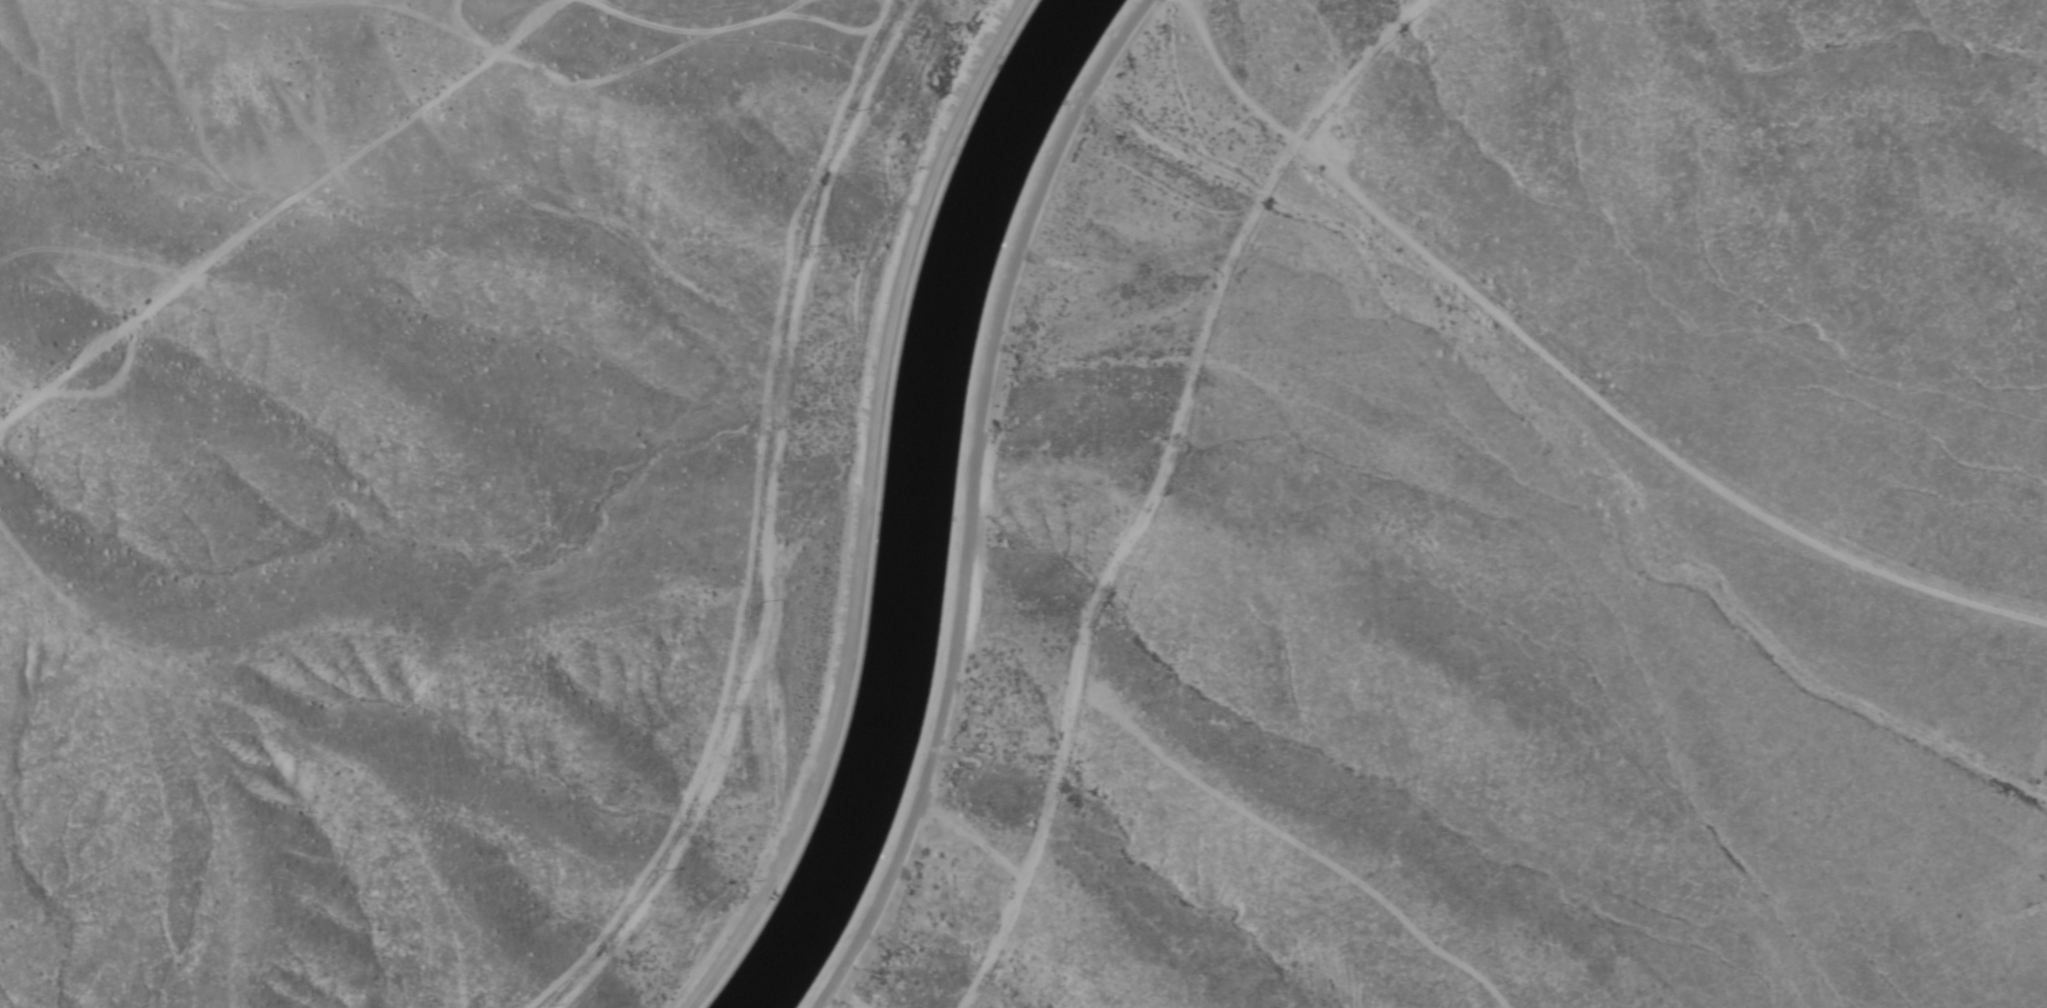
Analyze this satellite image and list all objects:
road: (403, 25)
road: (281, 206)
road: (1637, 437)
road: (1159, 475)
road: (967, 499)
road: (864, 509)

